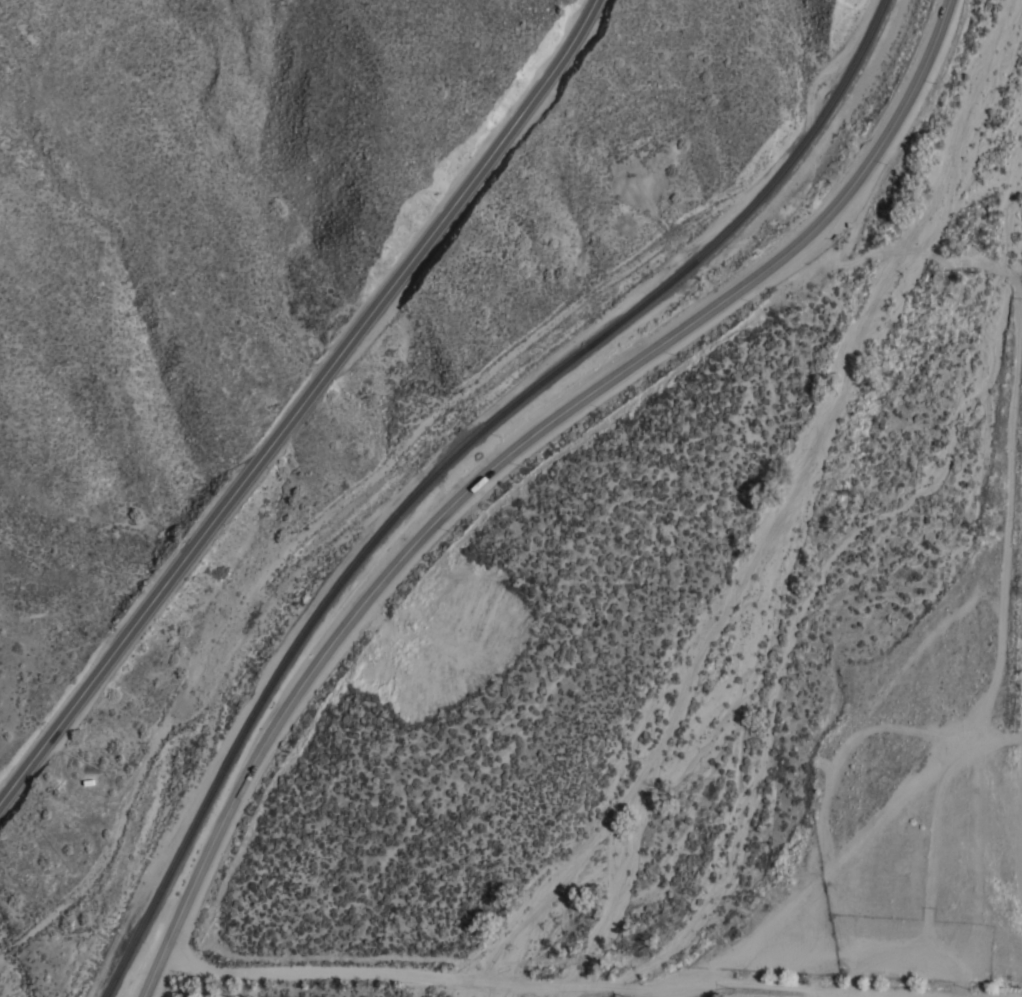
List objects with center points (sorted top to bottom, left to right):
road: (305, 402)
road: (503, 457)
railway: (448, 458)

